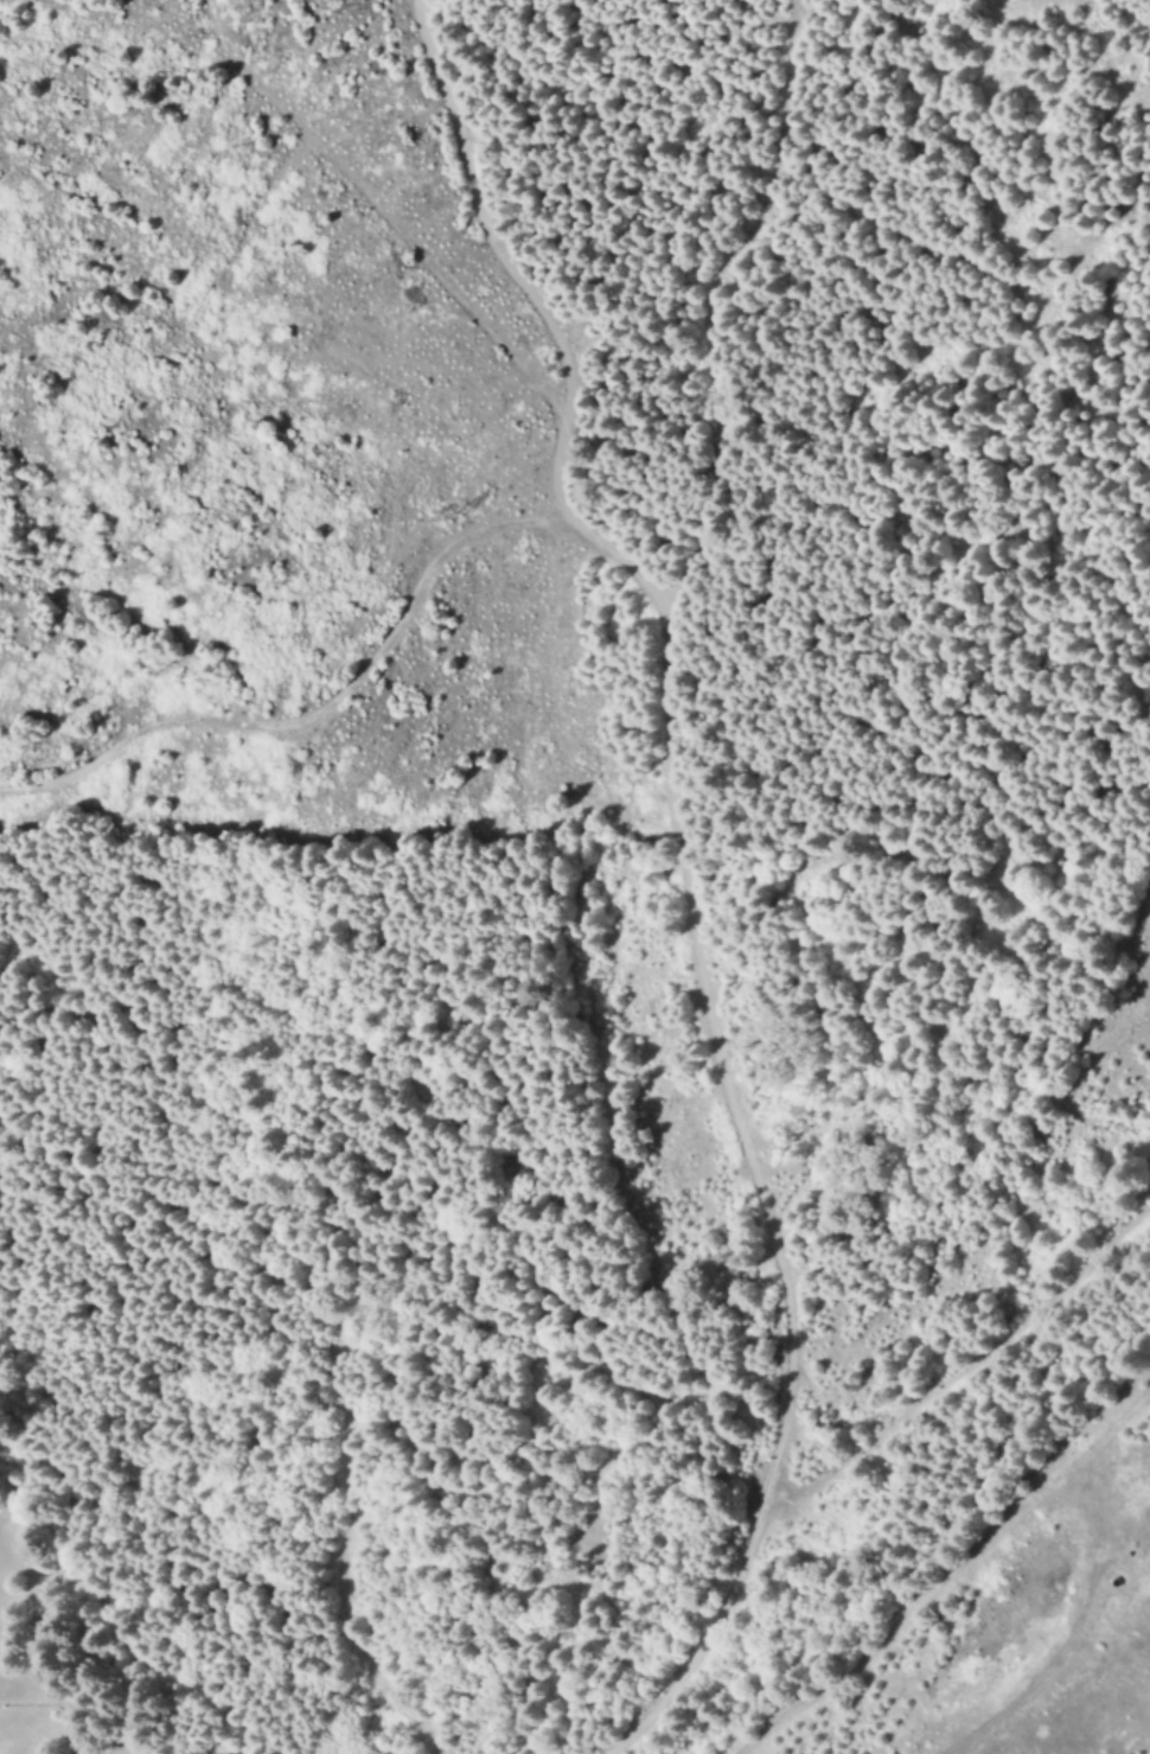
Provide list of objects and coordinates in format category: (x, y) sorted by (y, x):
road: (678, 869)
road: (1039, 1677)

